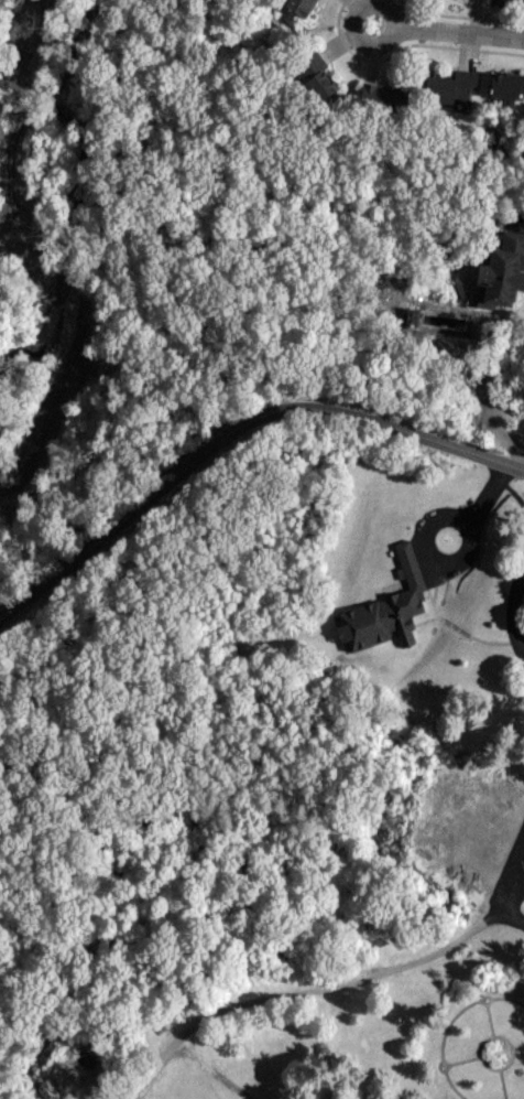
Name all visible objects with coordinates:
road: (455, 36)
road: (370, 39)
road: (234, 427)
road: (425, 531)
road: (512, 607)
road: (505, 877)
road: (312, 988)

